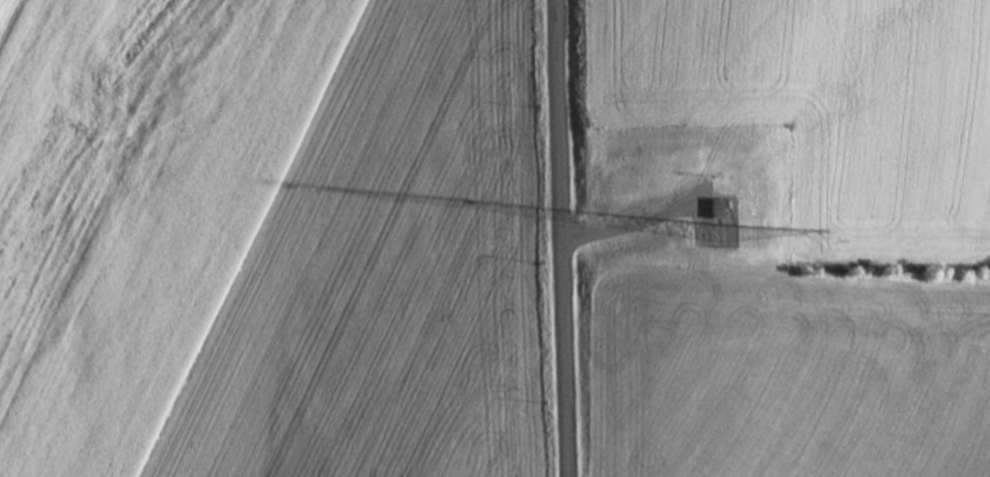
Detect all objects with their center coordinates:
road: (564, 238)
building: (775, 436)
building: (685, 440)
building: (827, 471)

